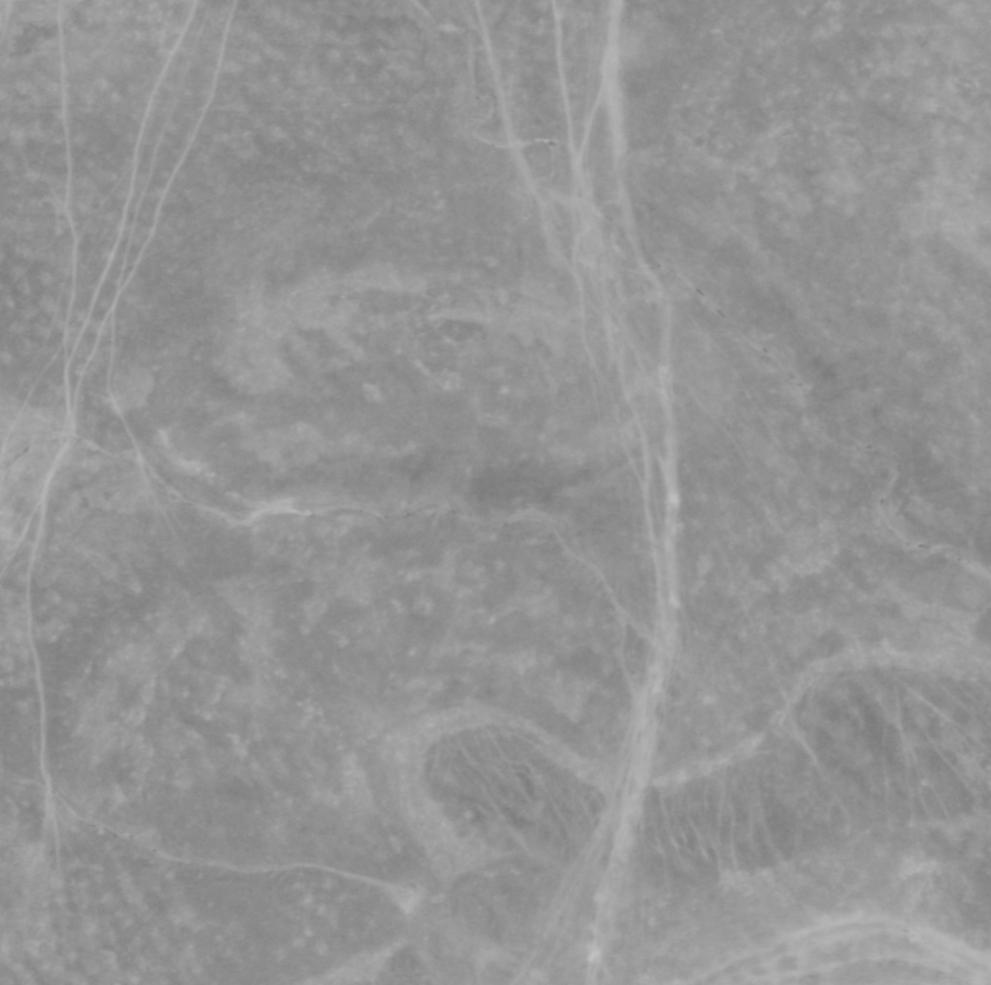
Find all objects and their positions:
road: (671, 492)

